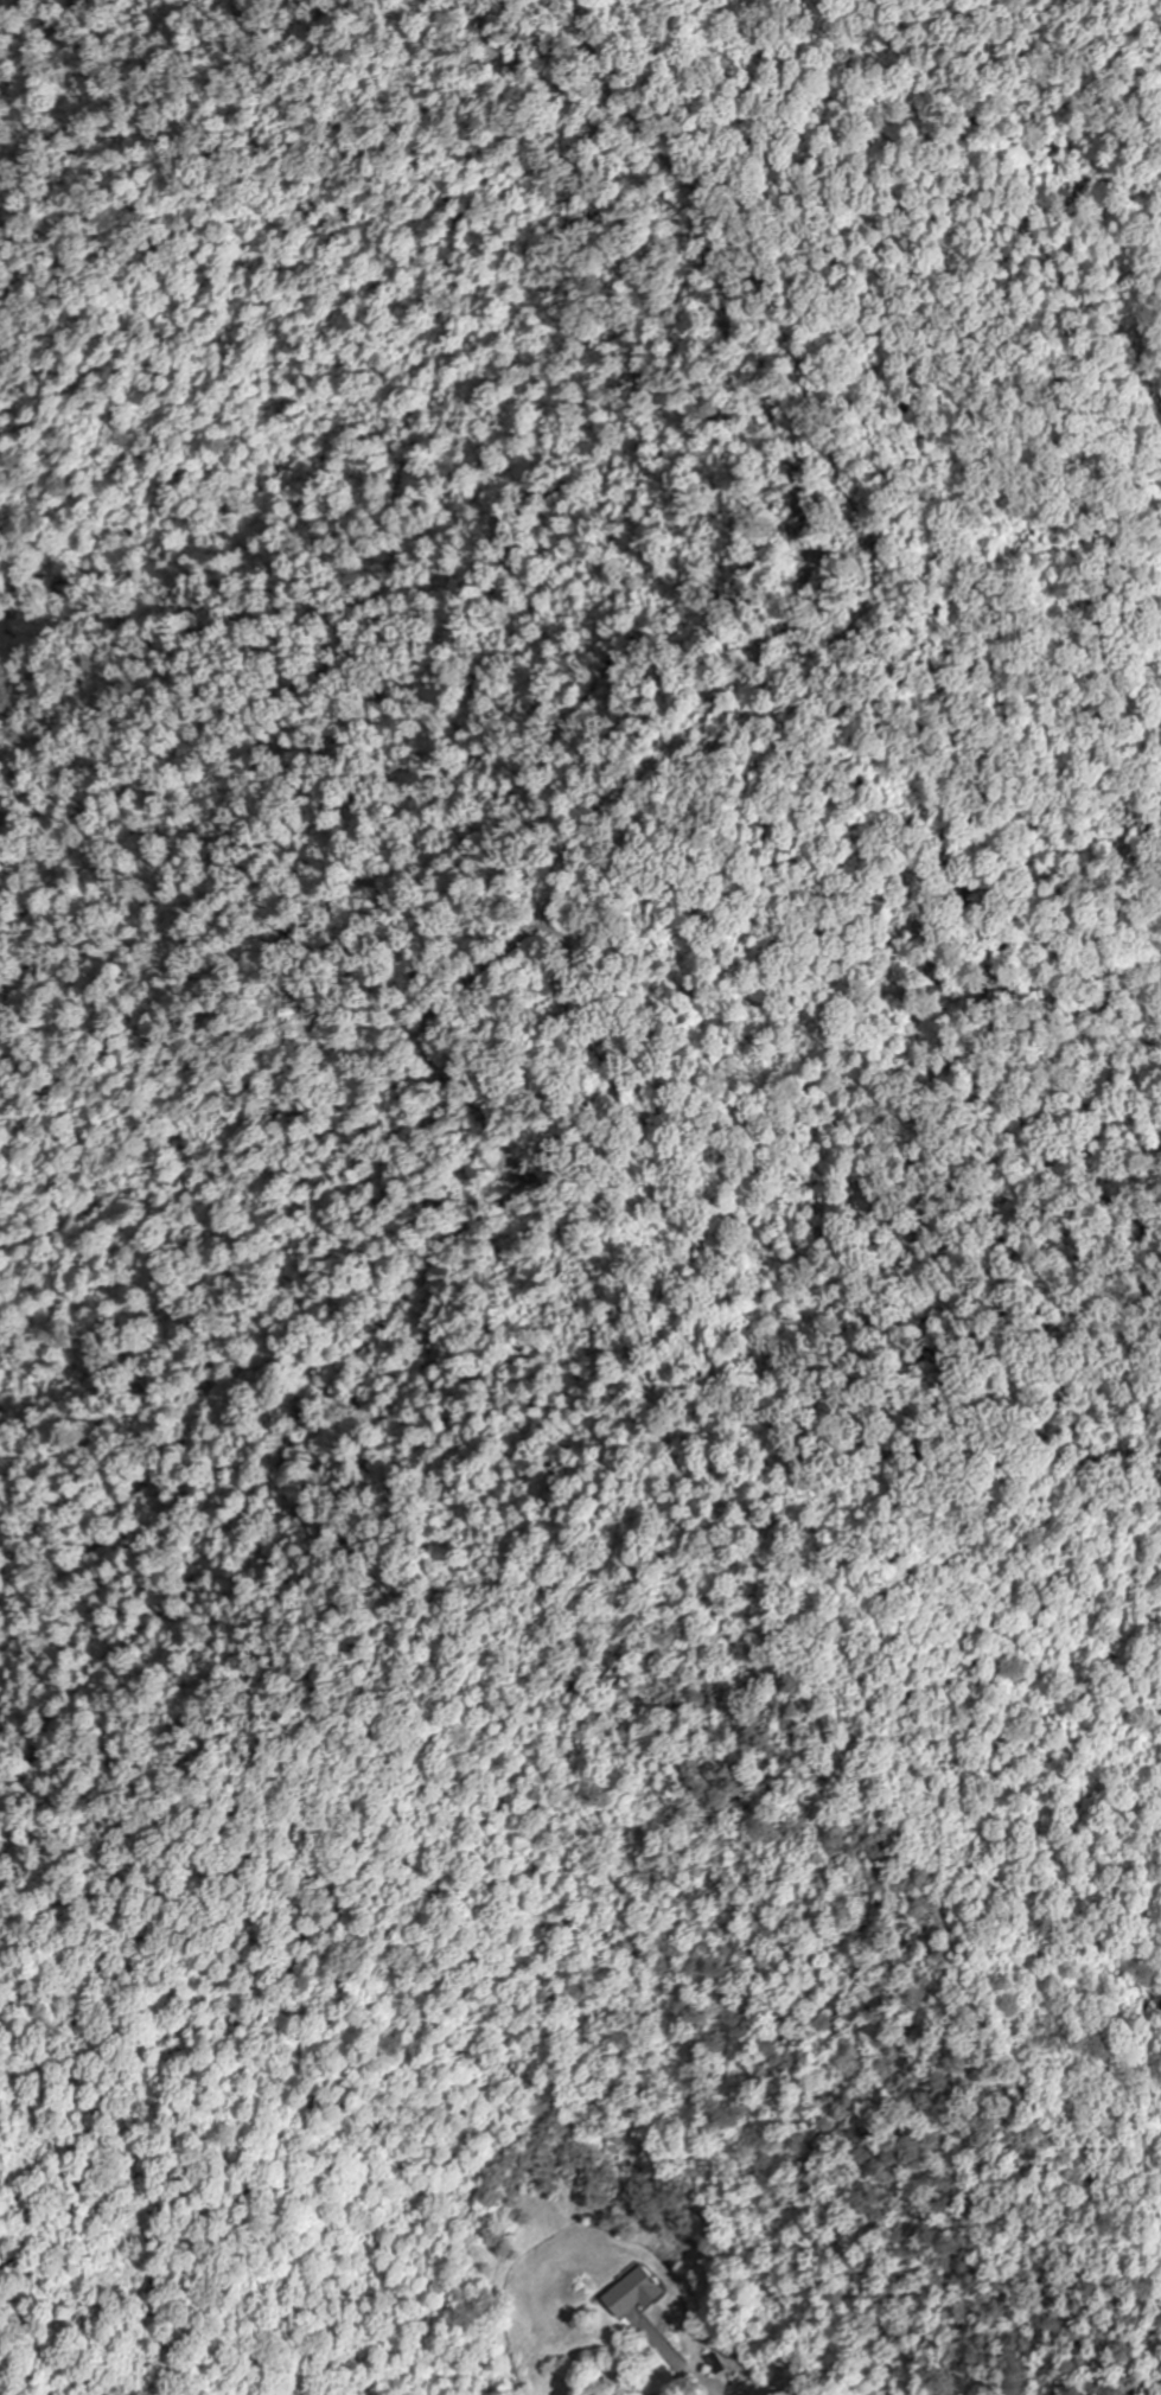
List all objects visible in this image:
building: (630, 2294)

